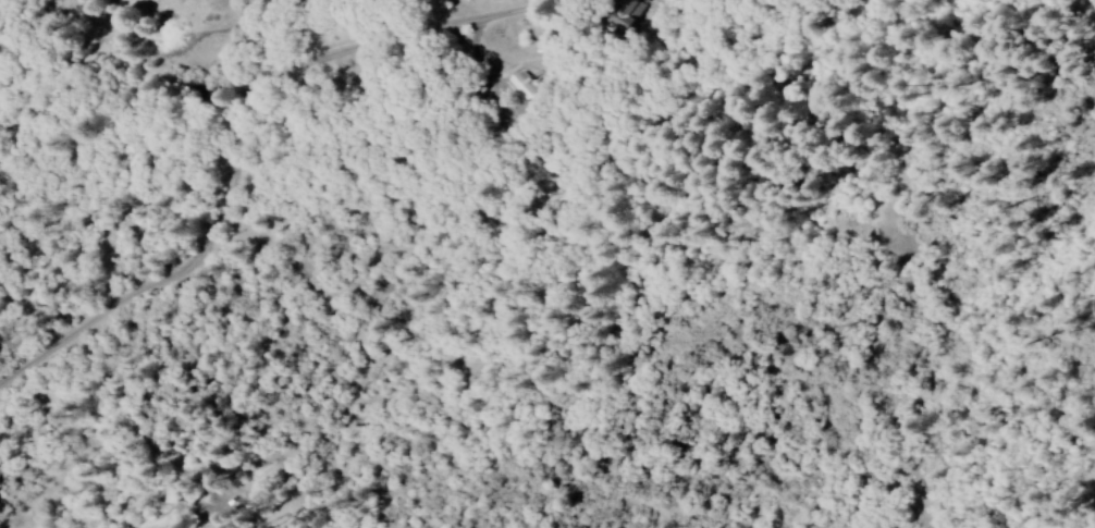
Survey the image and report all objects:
building: (618, 13)
building: (518, 86)
road: (226, 204)

